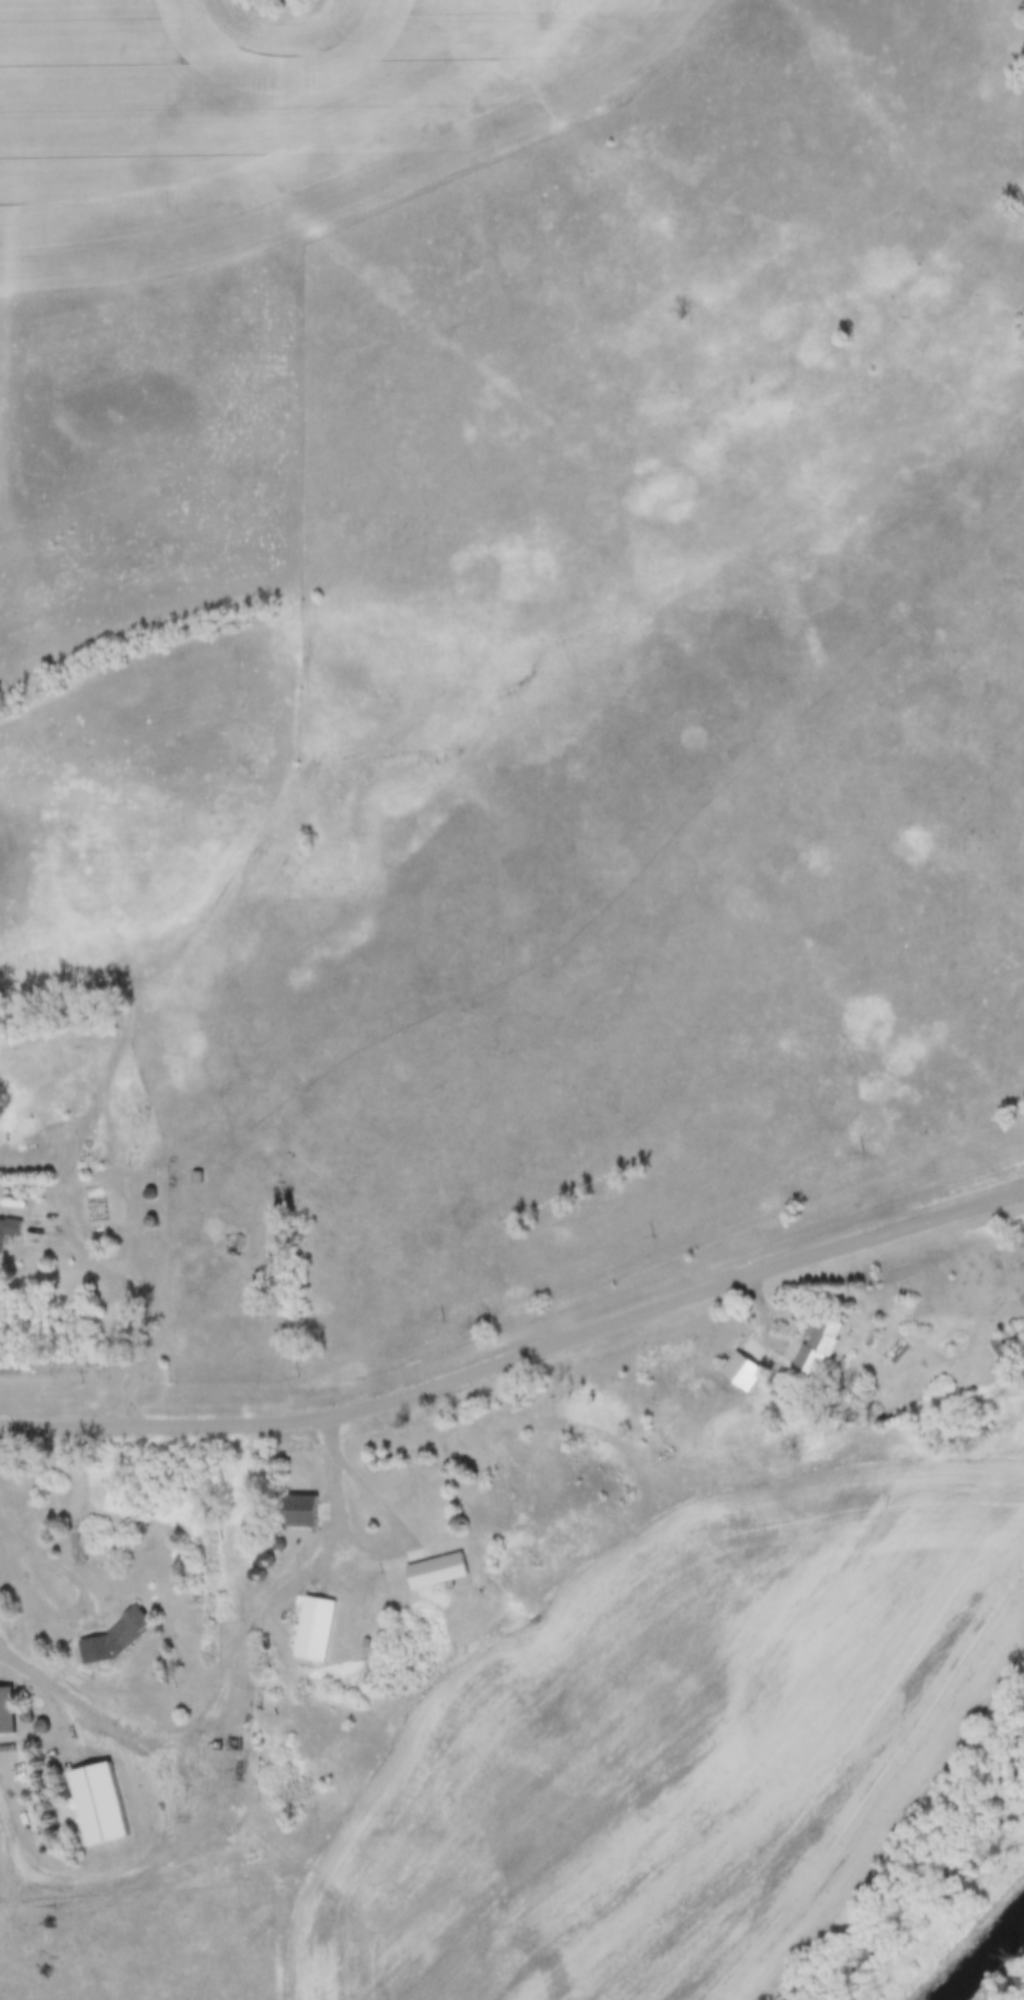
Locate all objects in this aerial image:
road: (155, 984)
building: (197, 1177)
building: (10, 1230)
building: (230, 1245)
road: (149, 1309)
building: (820, 1344)
building: (1003, 1344)
road: (519, 1354)
building: (305, 1510)
road: (401, 1540)
building: (440, 1571)
building: (318, 1627)
building: (9, 1710)
building: (104, 1800)
river: (984, 1957)

